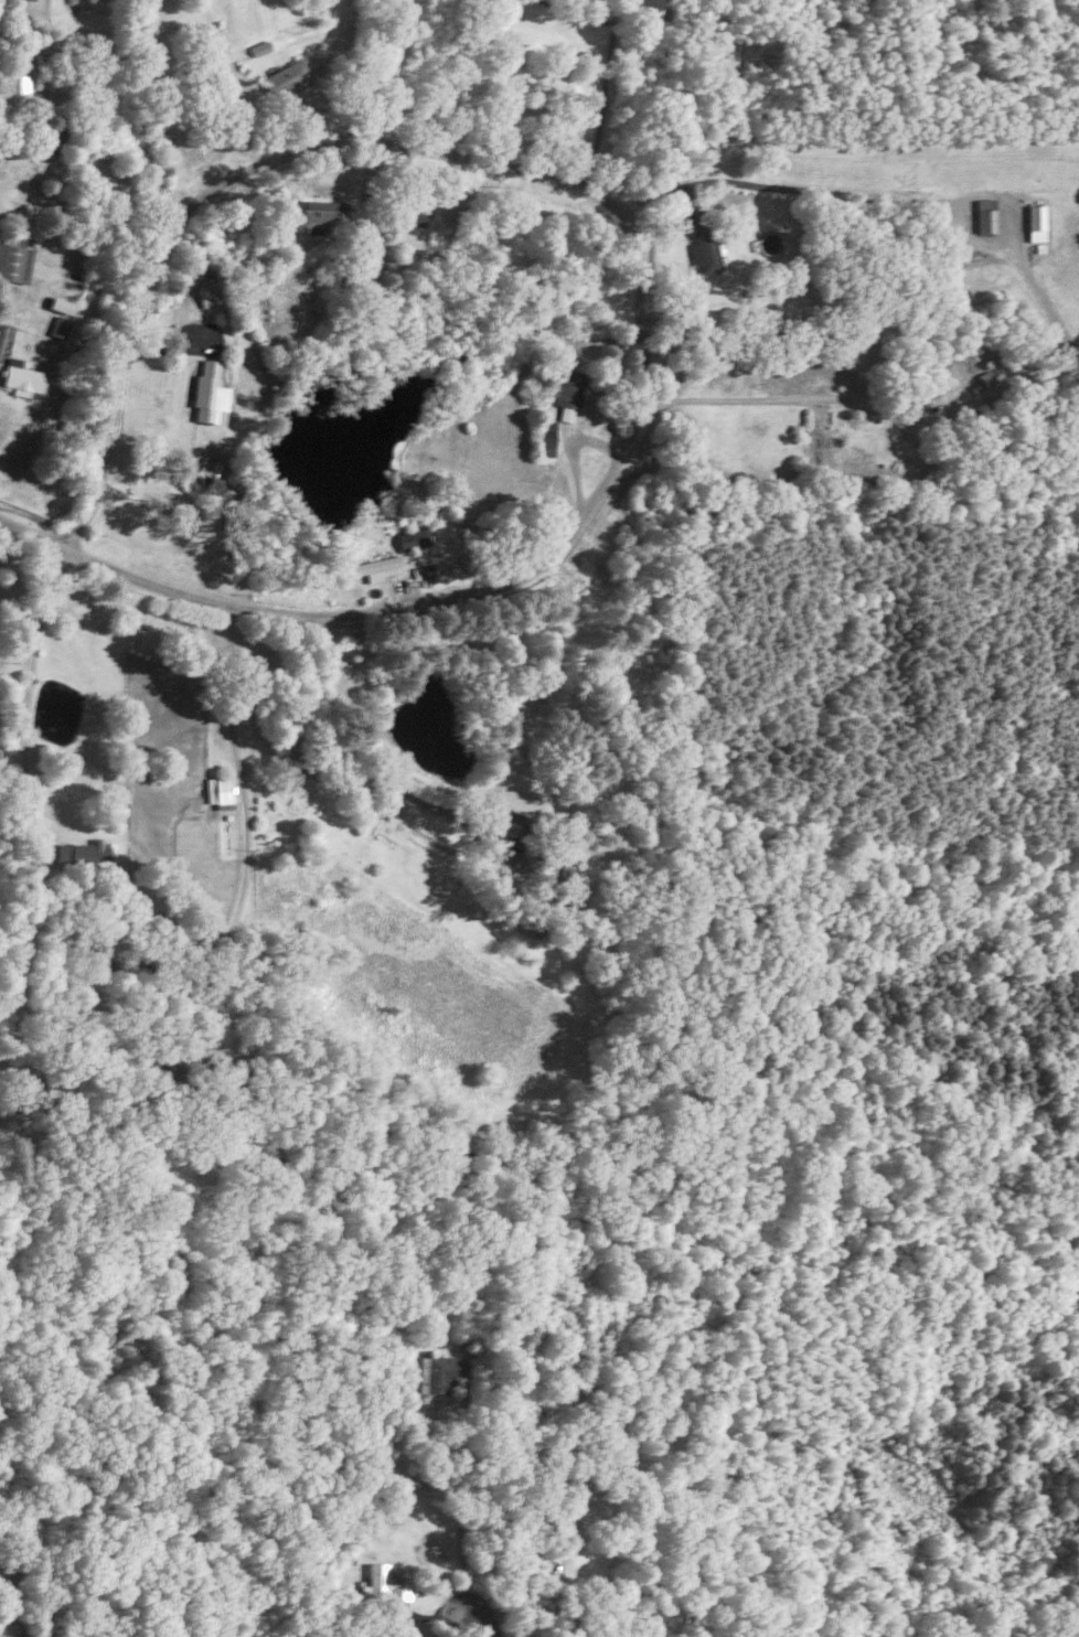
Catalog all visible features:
building: (259, 47)
building: (17, 78)
building: (287, 78)
road: (603, 96)
road: (41, 154)
road: (787, 186)
building: (415, 213)
building: (323, 214)
building: (984, 215)
building: (1035, 222)
road: (633, 231)
building: (707, 248)
building: (15, 259)
building: (206, 293)
building: (62, 304)
building: (61, 327)
building: (22, 377)
building: (210, 394)
building: (568, 395)
road: (767, 397)
building: (545, 437)
building: (212, 471)
road: (35, 534)
building: (413, 538)
building: (374, 567)
road: (319, 778)
building: (220, 791)
road: (25, 802)
road: (247, 824)
building: (82, 854)
building: (531, 924)
building: (438, 1371)
building: (384, 1584)
road: (493, 1629)

